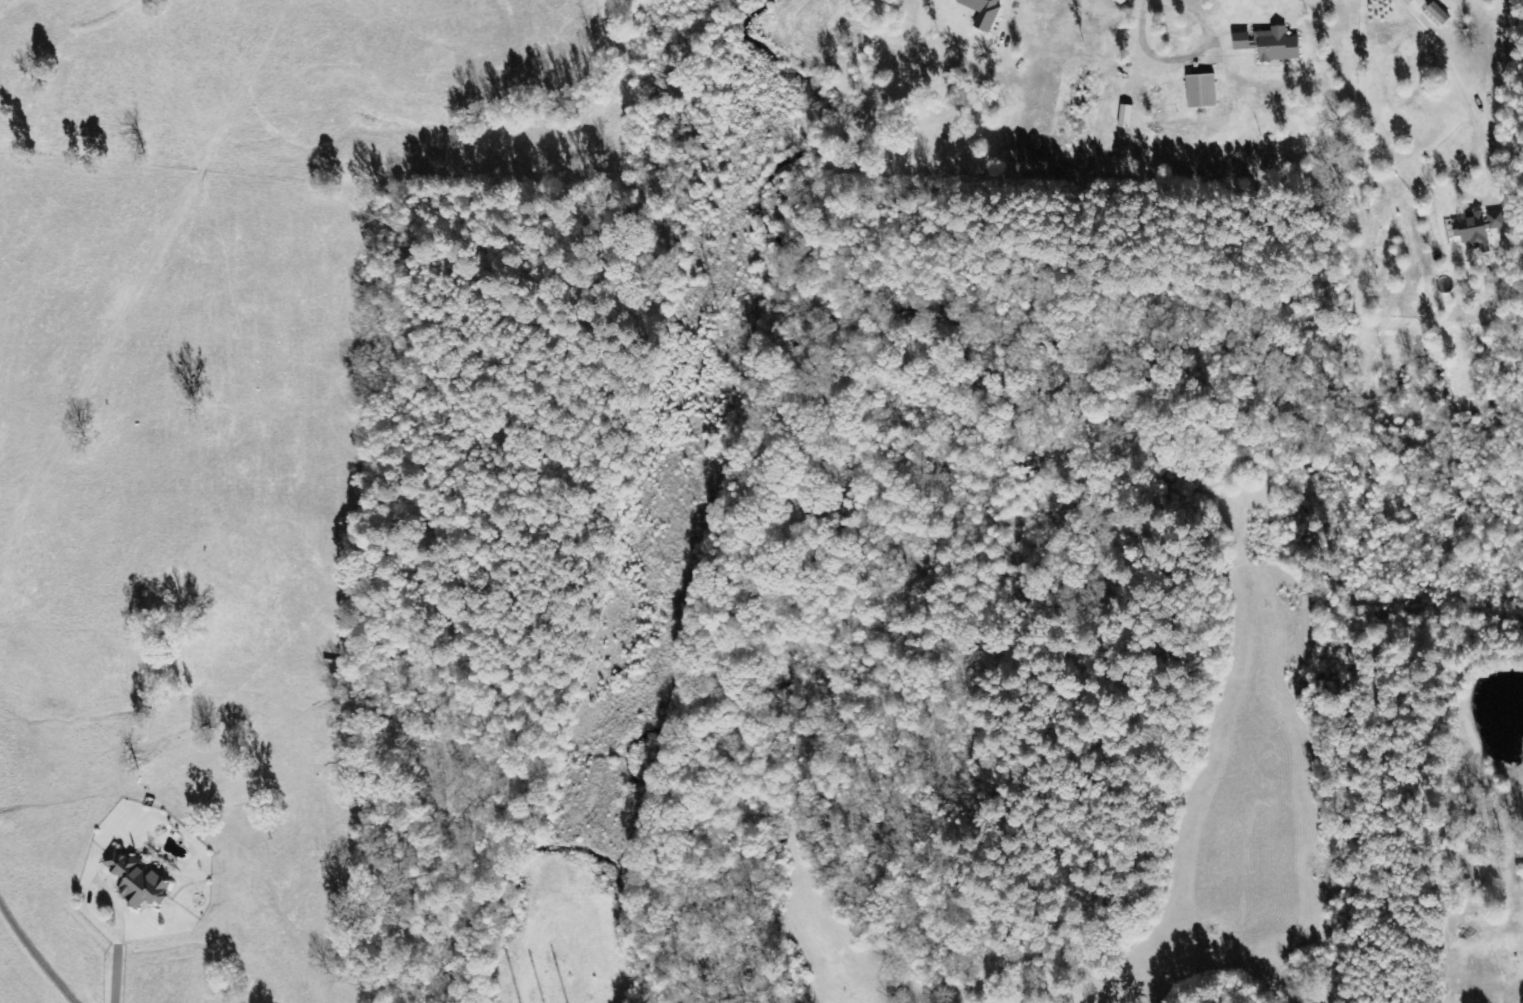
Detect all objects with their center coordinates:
building: (984, 12)
building: (1271, 45)
building: (1202, 92)
road: (1354, 95)
building: (1126, 117)
building: (1479, 226)
power tower: (720, 312)
building: (137, 879)

